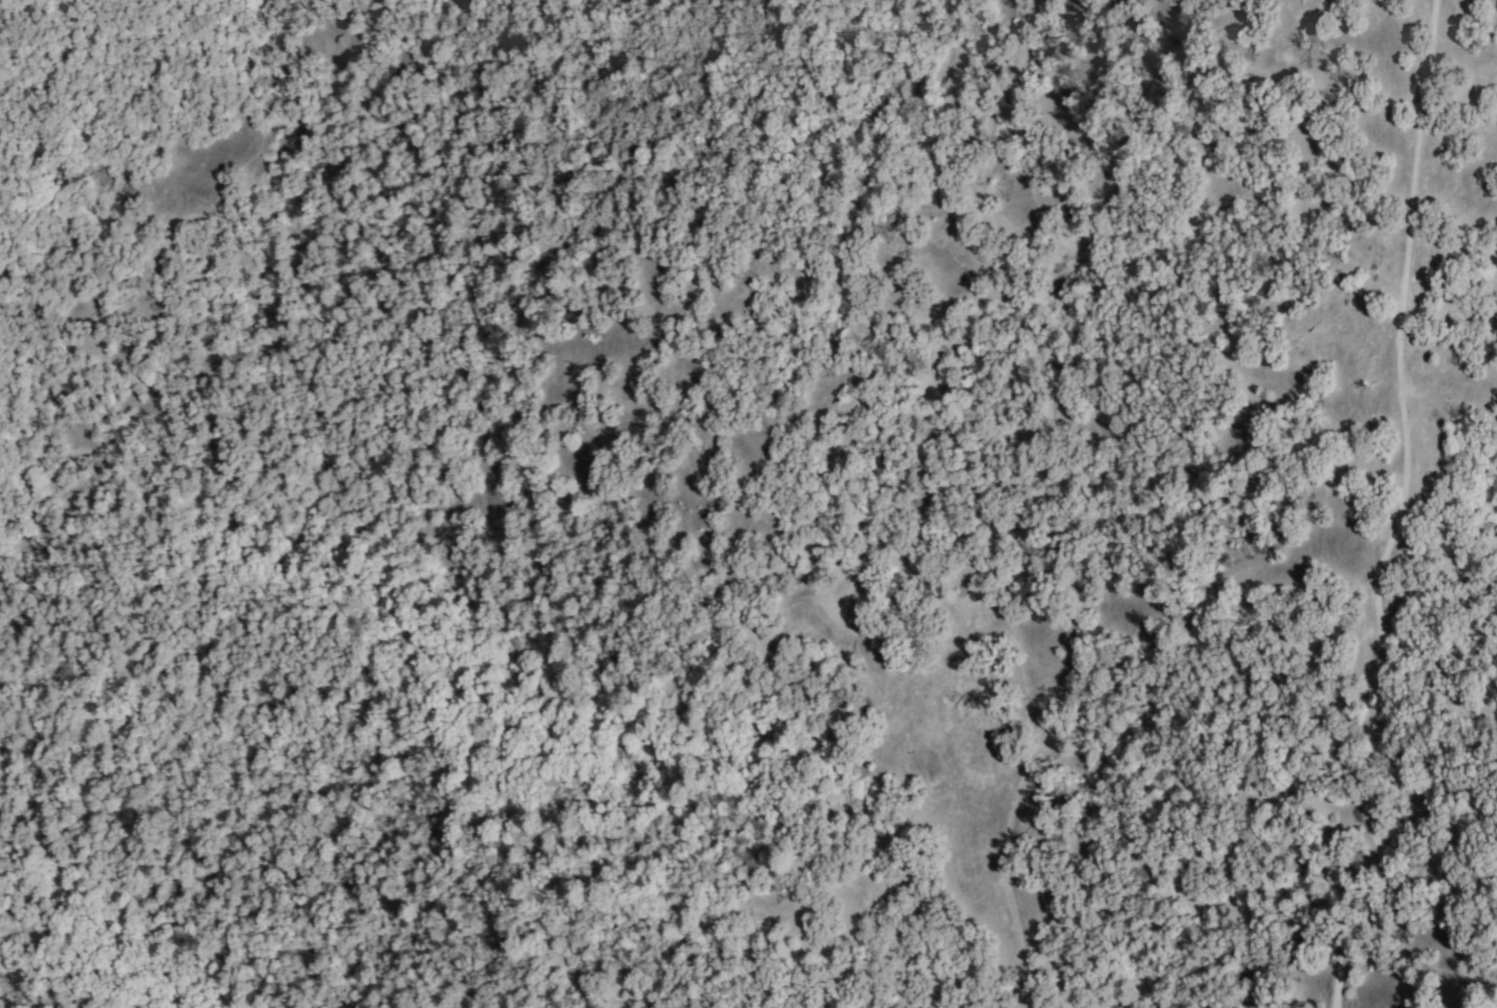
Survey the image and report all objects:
road: (1396, 510)

